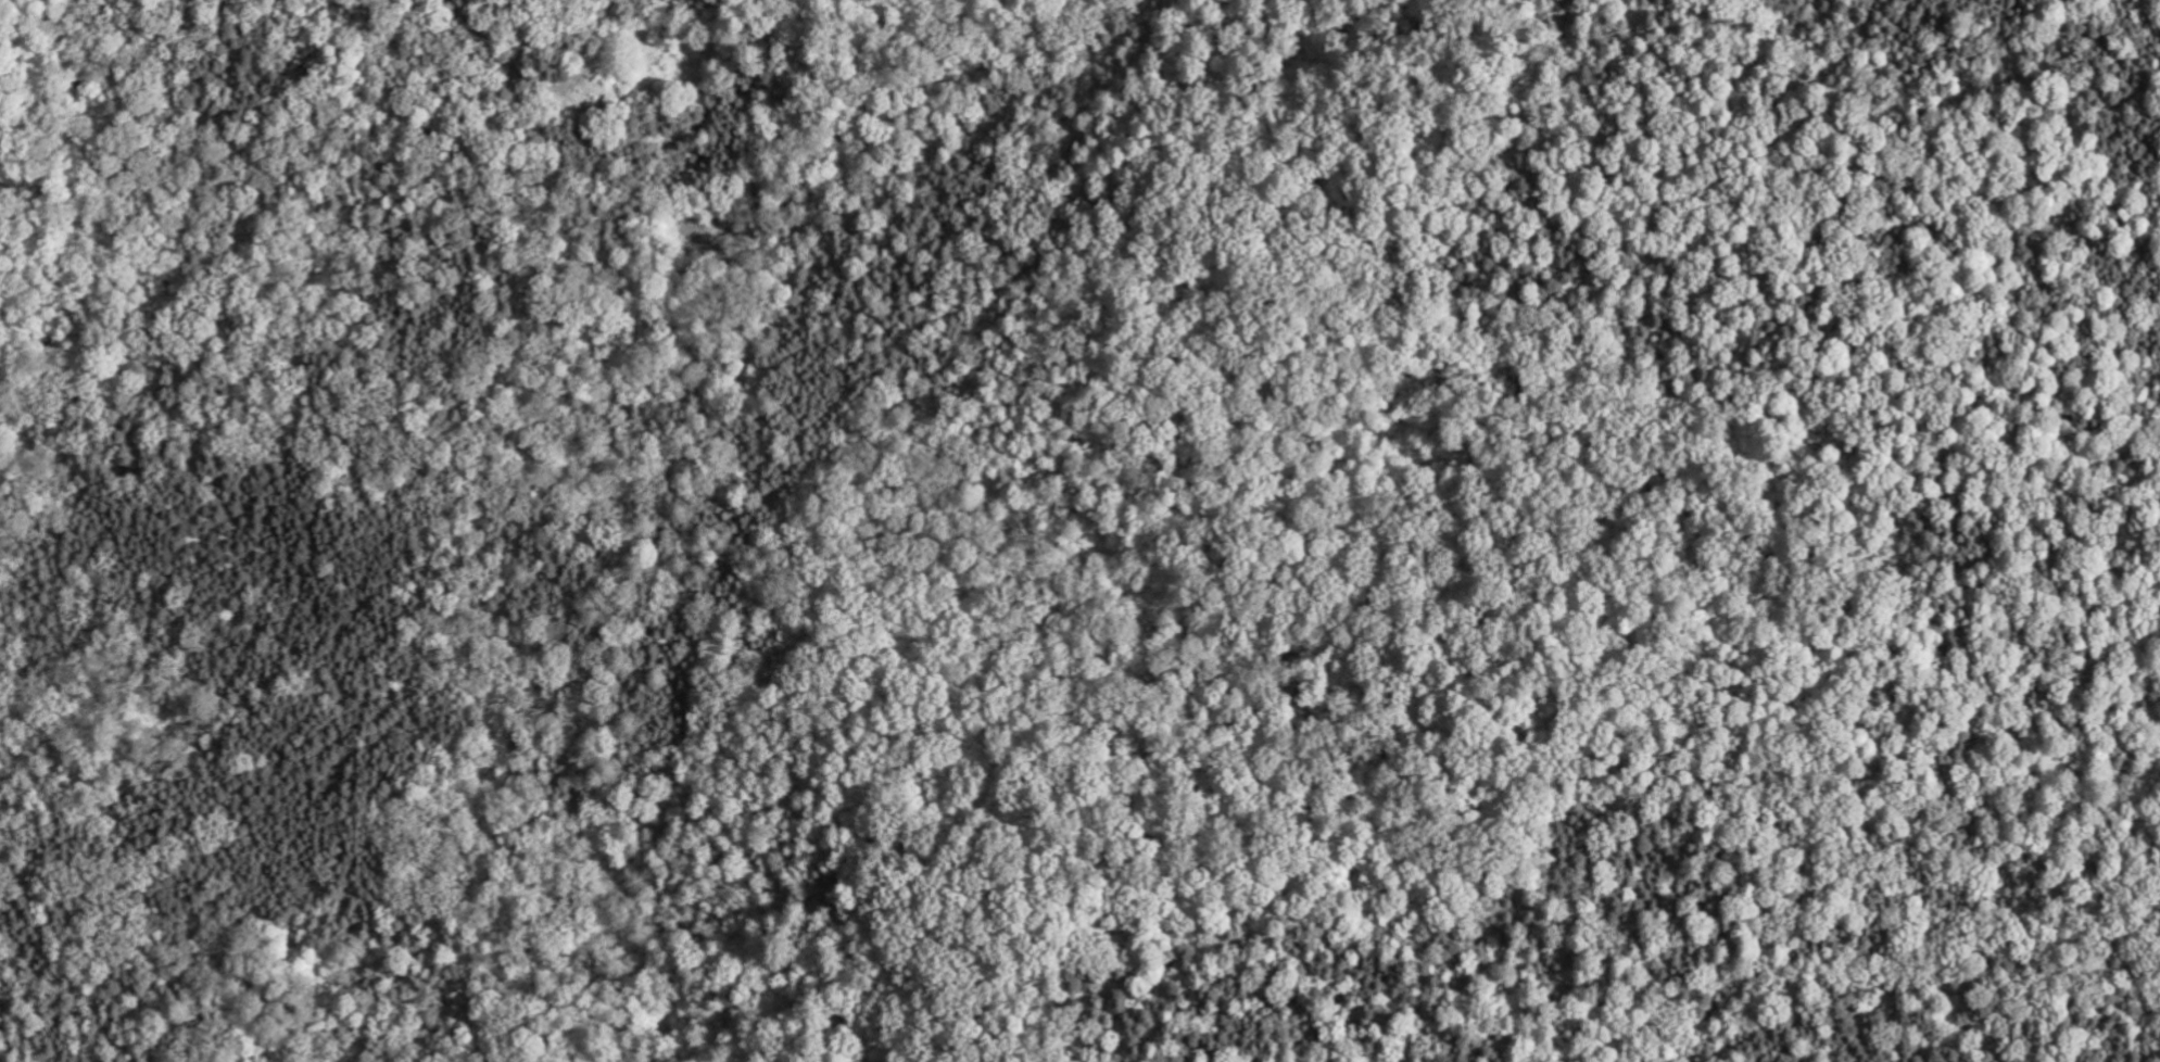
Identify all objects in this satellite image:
road: (596, 139)
road: (443, 197)

